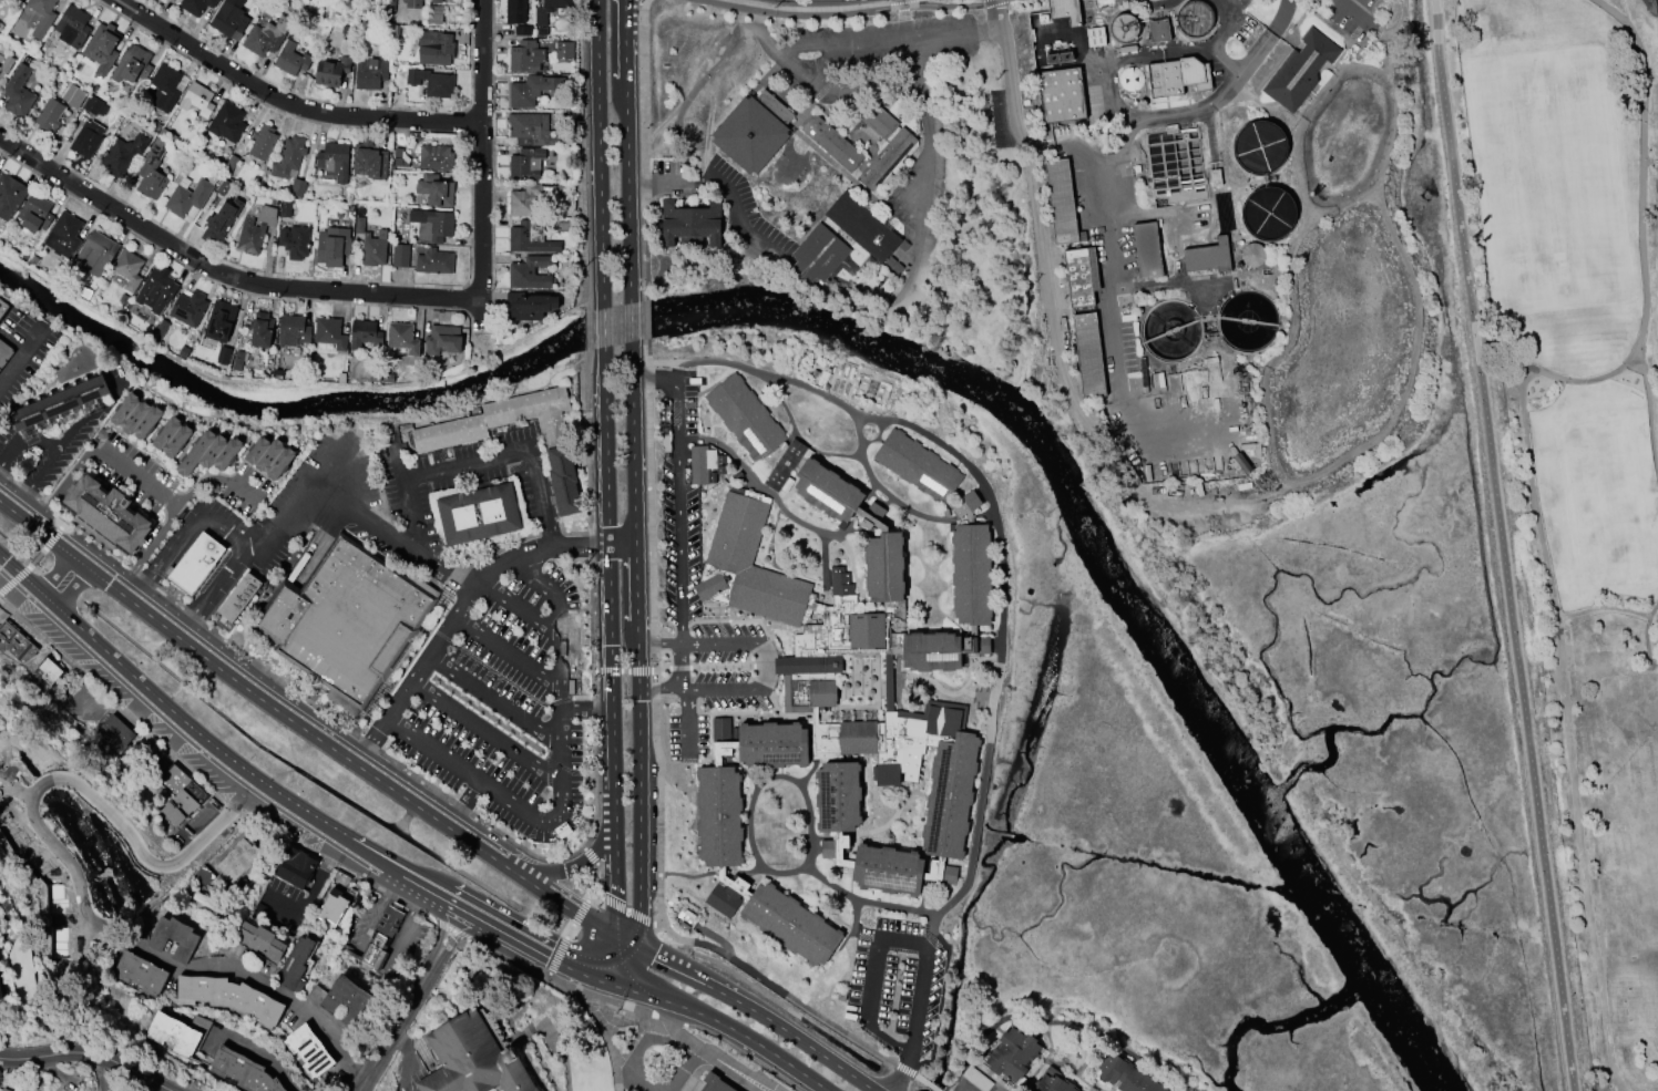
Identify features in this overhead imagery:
building: (171, 0)
road: (816, 0)
building: (436, 1)
building: (413, 3)
building: (195, 6)
road: (820, 8)
building: (549, 9)
building: (1065, 10)
building: (514, 11)
road: (849, 12)
building: (42, 16)
building: (433, 16)
road: (1360, 16)
parking lot: (1359, 18)
building: (229, 19)
building: (1195, 19)
road: (903, 20)
road: (1395, 20)
building: (72, 25)
building: (1124, 28)
building: (1158, 30)
building: (523, 31)
building: (542, 31)
building: (266, 37)
building: (1095, 37)
road: (1214, 38)
road: (895, 40)
road: (787, 47)
building: (102, 48)
building: (436, 48)
road: (721, 49)
building: (563, 50)
building: (525, 56)
building: (290, 59)
road: (1120, 59)
building: (6, 63)
road: (790, 63)
building: (132, 64)
building: (1300, 70)
building: (331, 71)
building: (371, 72)
building: (1178, 75)
building: (1130, 79)
building: (431, 82)
building: (166, 86)
road: (859, 88)
building: (531, 90)
building: (18, 92)
building: (1061, 94)
building: (73, 96)
building: (197, 100)
road: (282, 103)
building: (49, 116)
building: (227, 122)
building: (89, 127)
building: (753, 128)
building: (533, 130)
building: (262, 142)
building: (832, 142)
building: (884, 146)
road: (643, 148)
road: (624, 150)
road: (584, 154)
road: (597, 154)
road: (1114, 154)
building: (122, 155)
building: (288, 156)
building: (399, 157)
building: (436, 157)
building: (369, 159)
building: (334, 161)
pier: (1650, 161)
road: (481, 163)
road: (491, 164)
building: (525, 164)
building: (151, 171)
building: (1215, 177)
park: (1549, 178)
building: (223, 187)
building: (297, 188)
building: (432, 192)
building: (10, 196)
building: (188, 197)
building: (530, 197)
building: (1062, 202)
building: (285, 208)
building: (34, 213)
building: (221, 220)
building: (690, 224)
building: (432, 225)
building: (561, 226)
building: (862, 227)
road: (1641, 228)
building: (255, 229)
road: (1033, 233)
building: (64, 235)
building: (530, 237)
building: (295, 241)
building: (371, 244)
building: (332, 246)
building: (1147, 249)
building: (96, 254)
building: (399, 255)
building: (817, 255)
building: (1252, 255)
building: (1208, 256)
building: (33, 260)
building: (434, 261)
building: (129, 269)
building: (530, 272)
road: (223, 274)
building: (1081, 276)
road: (222, 284)
building: (156, 289)
building: (2, 305)
building: (530, 305)
road: (867, 305)
building: (188, 308)
road: (644, 317)
building: (219, 321)
road: (631, 321)
building: (260, 329)
road: (587, 329)
building: (293, 330)
road: (601, 330)
building: (329, 332)
building: (365, 334)
building: (401, 338)
building: (443, 339)
road: (490, 339)
road: (473, 341)
building: (3, 350)
road: (20, 353)
building: (223, 354)
building: (1088, 354)
road: (1503, 357)
building: (238, 360)
road: (747, 367)
building: (375, 374)
building: (388, 378)
road: (275, 384)
road: (478, 400)
building: (59, 402)
building: (125, 405)
road: (88, 414)
building: (134, 414)
building: (146, 420)
building: (166, 429)
building: (176, 438)
road: (631, 442)
building: (665, 443)
building: (557, 446)
road: (604, 446)
building: (257, 447)
road: (55, 450)
building: (196, 450)
building: (213, 450)
building: (227, 451)
park: (1576, 452)
building: (269, 453)
building: (720, 459)
building: (280, 460)
road: (473, 463)
building: (700, 463)
road: (400, 464)
building: (720, 470)
road: (137, 476)
road: (335, 477)
building: (713, 477)
road: (1531, 486)
park: (1607, 498)
road: (347, 511)
building: (479, 511)
road: (678, 512)
building: (108, 514)
road: (38, 527)
road: (651, 535)
road: (183, 536)
road: (620, 542)
road: (580, 543)
road: (1503, 545)
road: (147, 547)
building: (195, 560)
road: (22, 573)
road: (61, 575)
road: (209, 588)
building: (238, 595)
road: (16, 598)
road: (521, 607)
building: (348, 620)
road: (442, 637)
road: (1646, 640)
building: (16, 642)
road: (657, 642)
road: (684, 642)
road: (1002, 649)
road: (509, 653)
road: (764, 663)
road: (680, 665)
road: (763, 666)
road: (721, 667)
road: (678, 668)
road: (608, 669)
road: (659, 669)
building: (808, 669)
road: (621, 670)
building: (48, 671)
road: (510, 680)
road: (661, 688)
road: (497, 701)
parking lot: (506, 704)
road: (587, 710)
road: (290, 717)
road: (687, 722)
road: (637, 727)
road: (514, 732)
building: (113, 733)
road: (488, 733)
road: (209, 743)
road: (564, 779)
building: (180, 793)
road: (96, 799)
road: (549, 802)
road: (465, 805)
road: (253, 819)
road: (490, 827)
road: (613, 846)
road: (583, 847)
road: (1580, 855)
road: (590, 856)
building: (237, 860)
road: (582, 861)
building: (294, 867)
building: (202, 876)
road: (417, 879)
road: (592, 883)
road: (309, 892)
road: (597, 895)
road: (562, 902)
road: (462, 906)
building: (331, 908)
road: (627, 910)
road: (579, 913)
road: (439, 926)
road: (638, 929)
road: (508, 932)
road: (536, 932)
road: (569, 932)
road: (889, 933)
traffic signals: (614, 934)
road: (457, 936)
road: (613, 936)
building: (381, 937)
building: (173, 938)
building: (260, 940)
road: (625, 940)
traffic signals: (638, 948)
road: (556, 955)
traffic signals: (605, 956)
road: (563, 959)
building: (295, 963)
road: (672, 965)
road: (630, 966)
building: (140, 972)
traffic signals: (597, 974)
road: (361, 978)
road: (610, 978)
road: (633, 987)
road: (285, 992)
building: (1, 994)
road: (601, 996)
building: (229, 997)
building: (347, 1000)
road: (798, 1002)
road: (669, 1020)
road: (392, 1025)
building: (177, 1032)
road: (740, 1032)
road: (792, 1032)
road: (555, 1039)
building: (309, 1050)
road: (707, 1052)
road: (743, 1054)
building: (1012, 1054)
road: (259, 1058)
road: (79, 1059)
building: (472, 1059)
building: (243, 1071)
building: (1125, 1074)
road: (900, 1075)
building: (715, 1082)
building: (1050, 1082)
building: (4, 1089)
road: (964, 1089)

